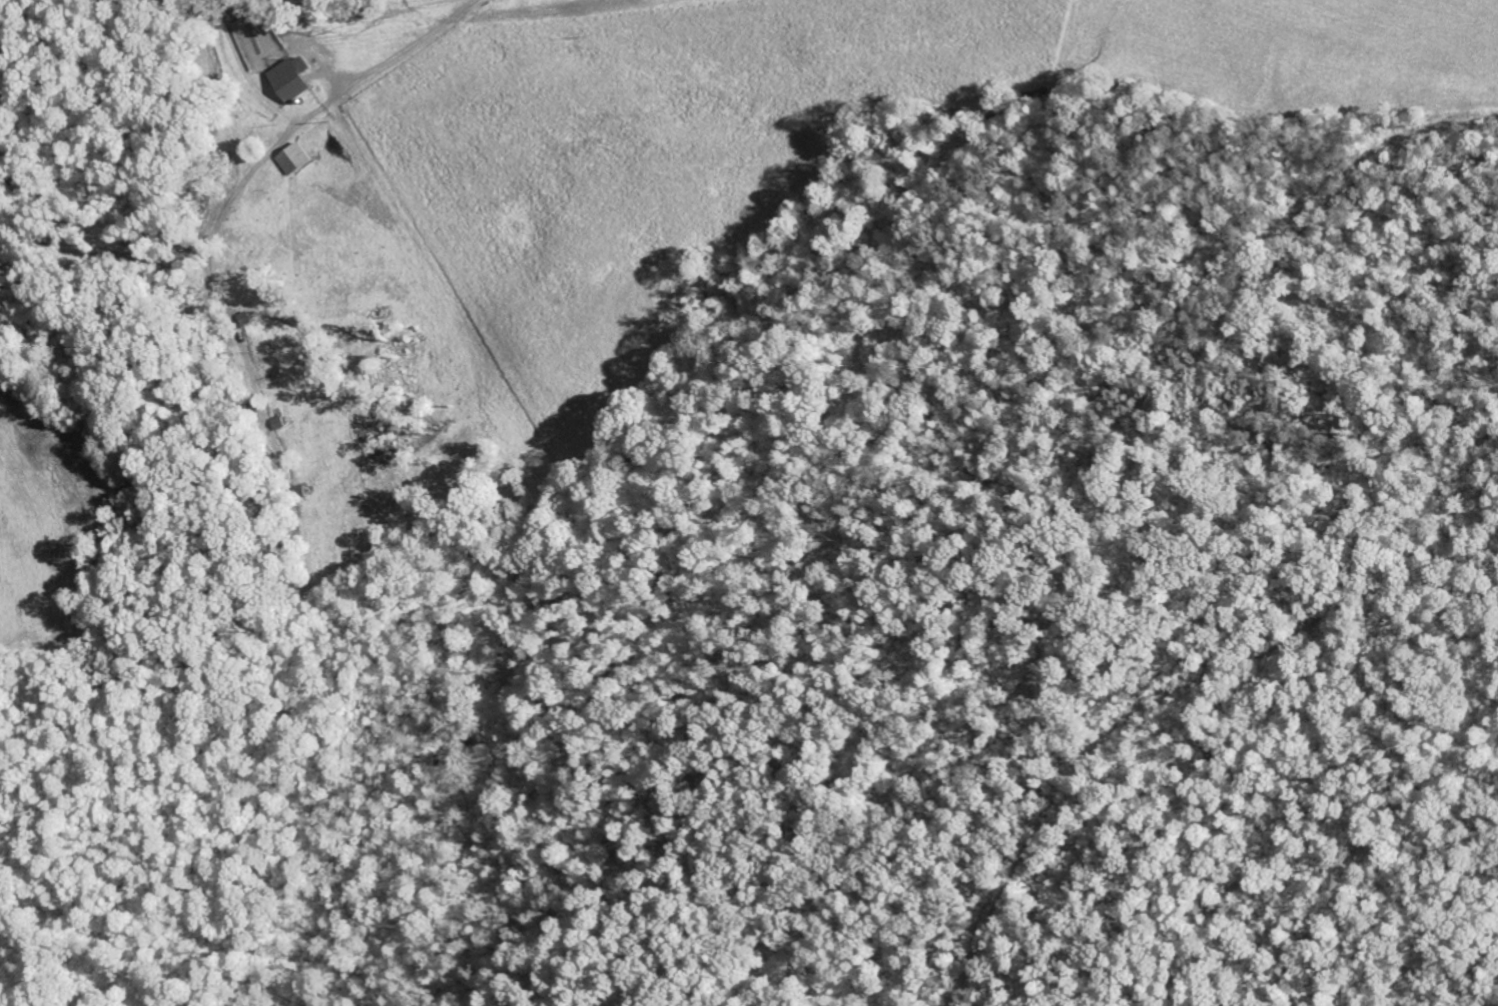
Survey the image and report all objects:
building: (291, 79)
building: (293, 159)
building: (280, 423)

